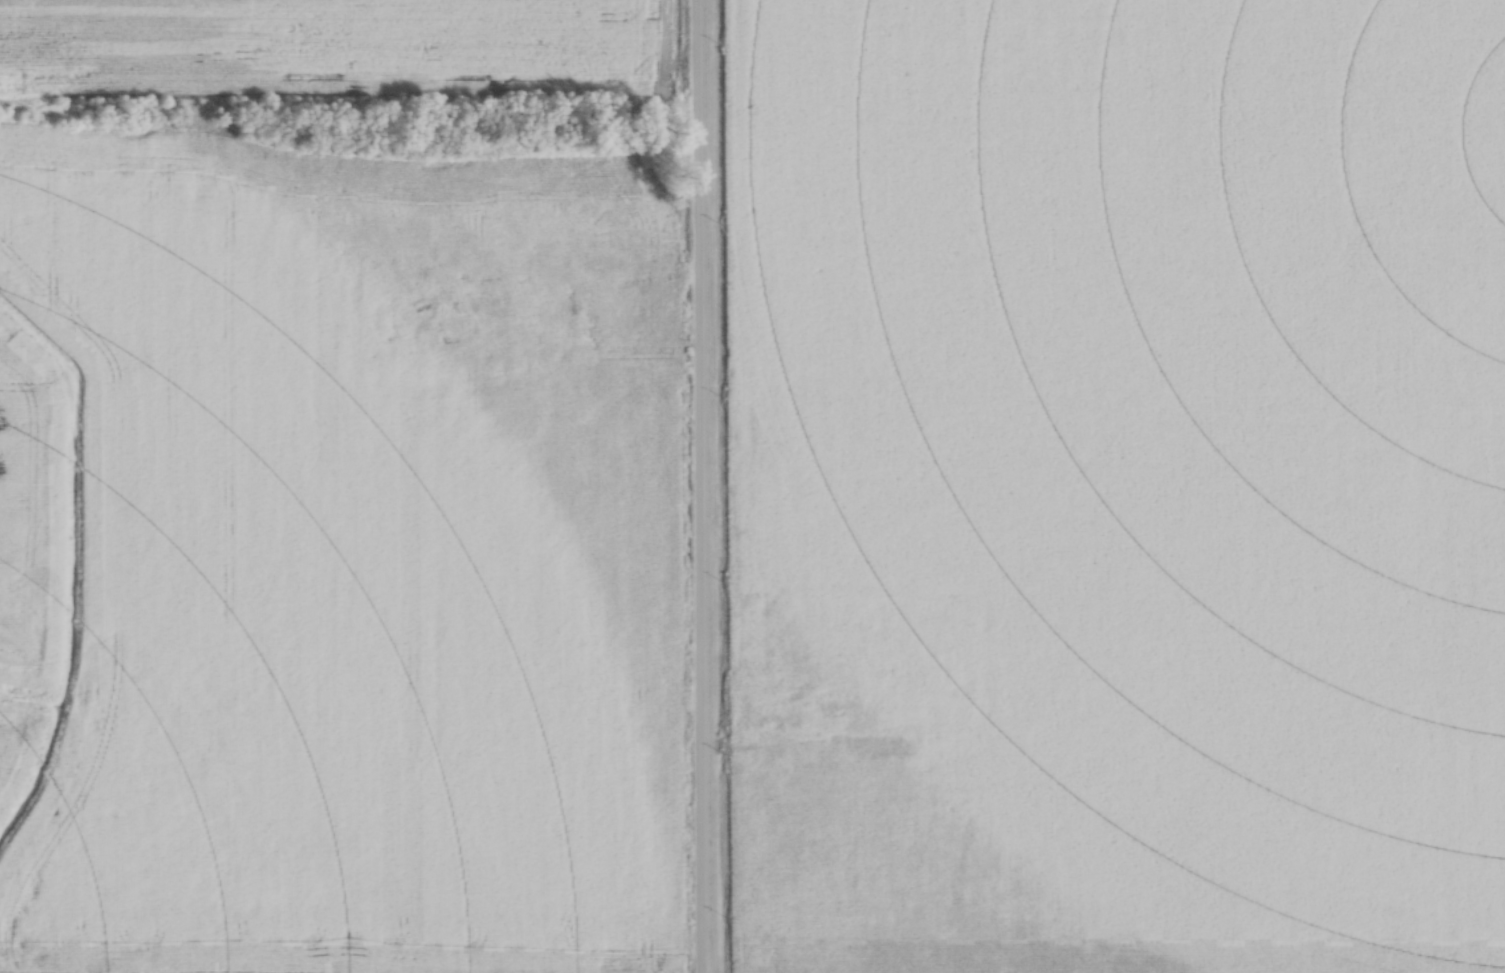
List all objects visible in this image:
building: (634, 311)
building: (568, 328)
road: (638, 348)
road: (704, 486)
building: (963, 709)

